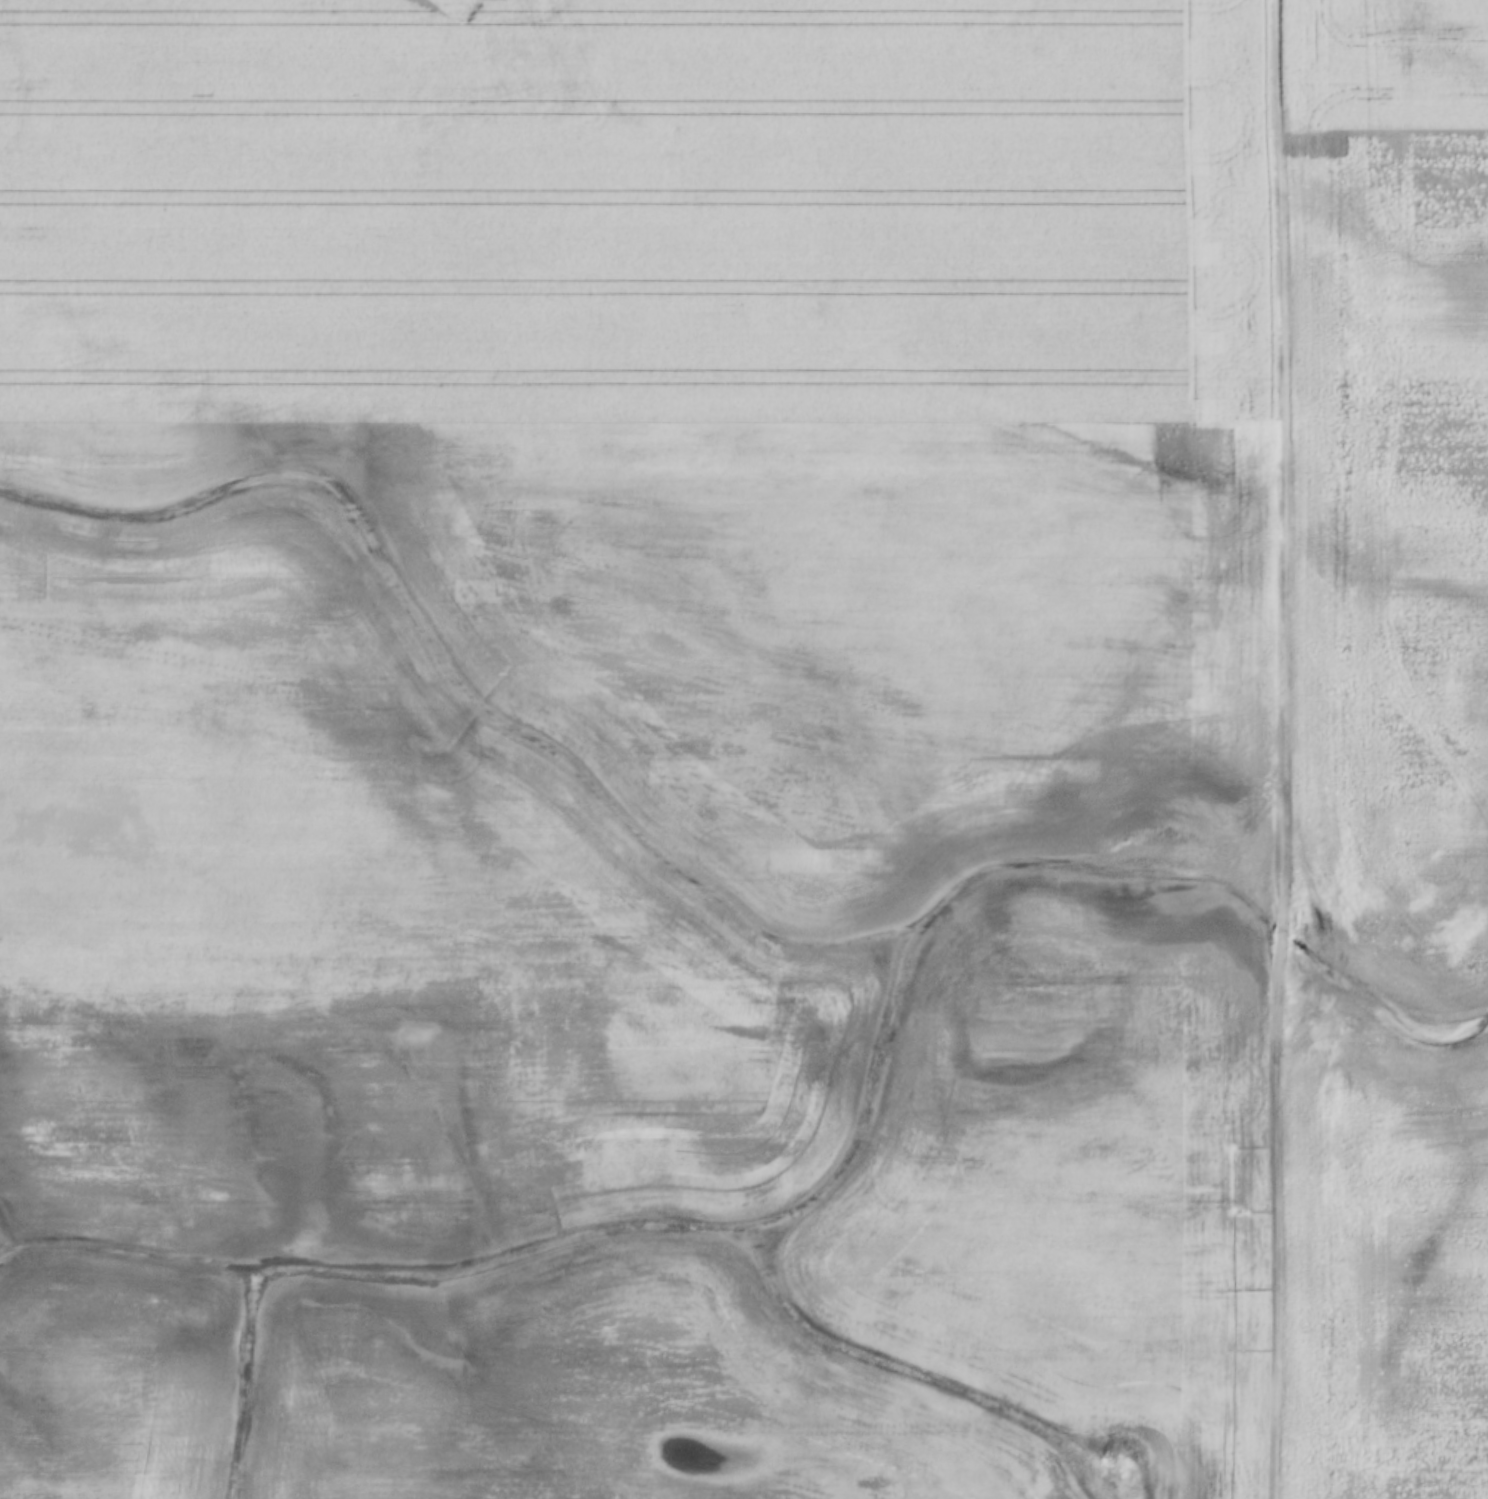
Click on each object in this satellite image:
road: (1287, 749)

